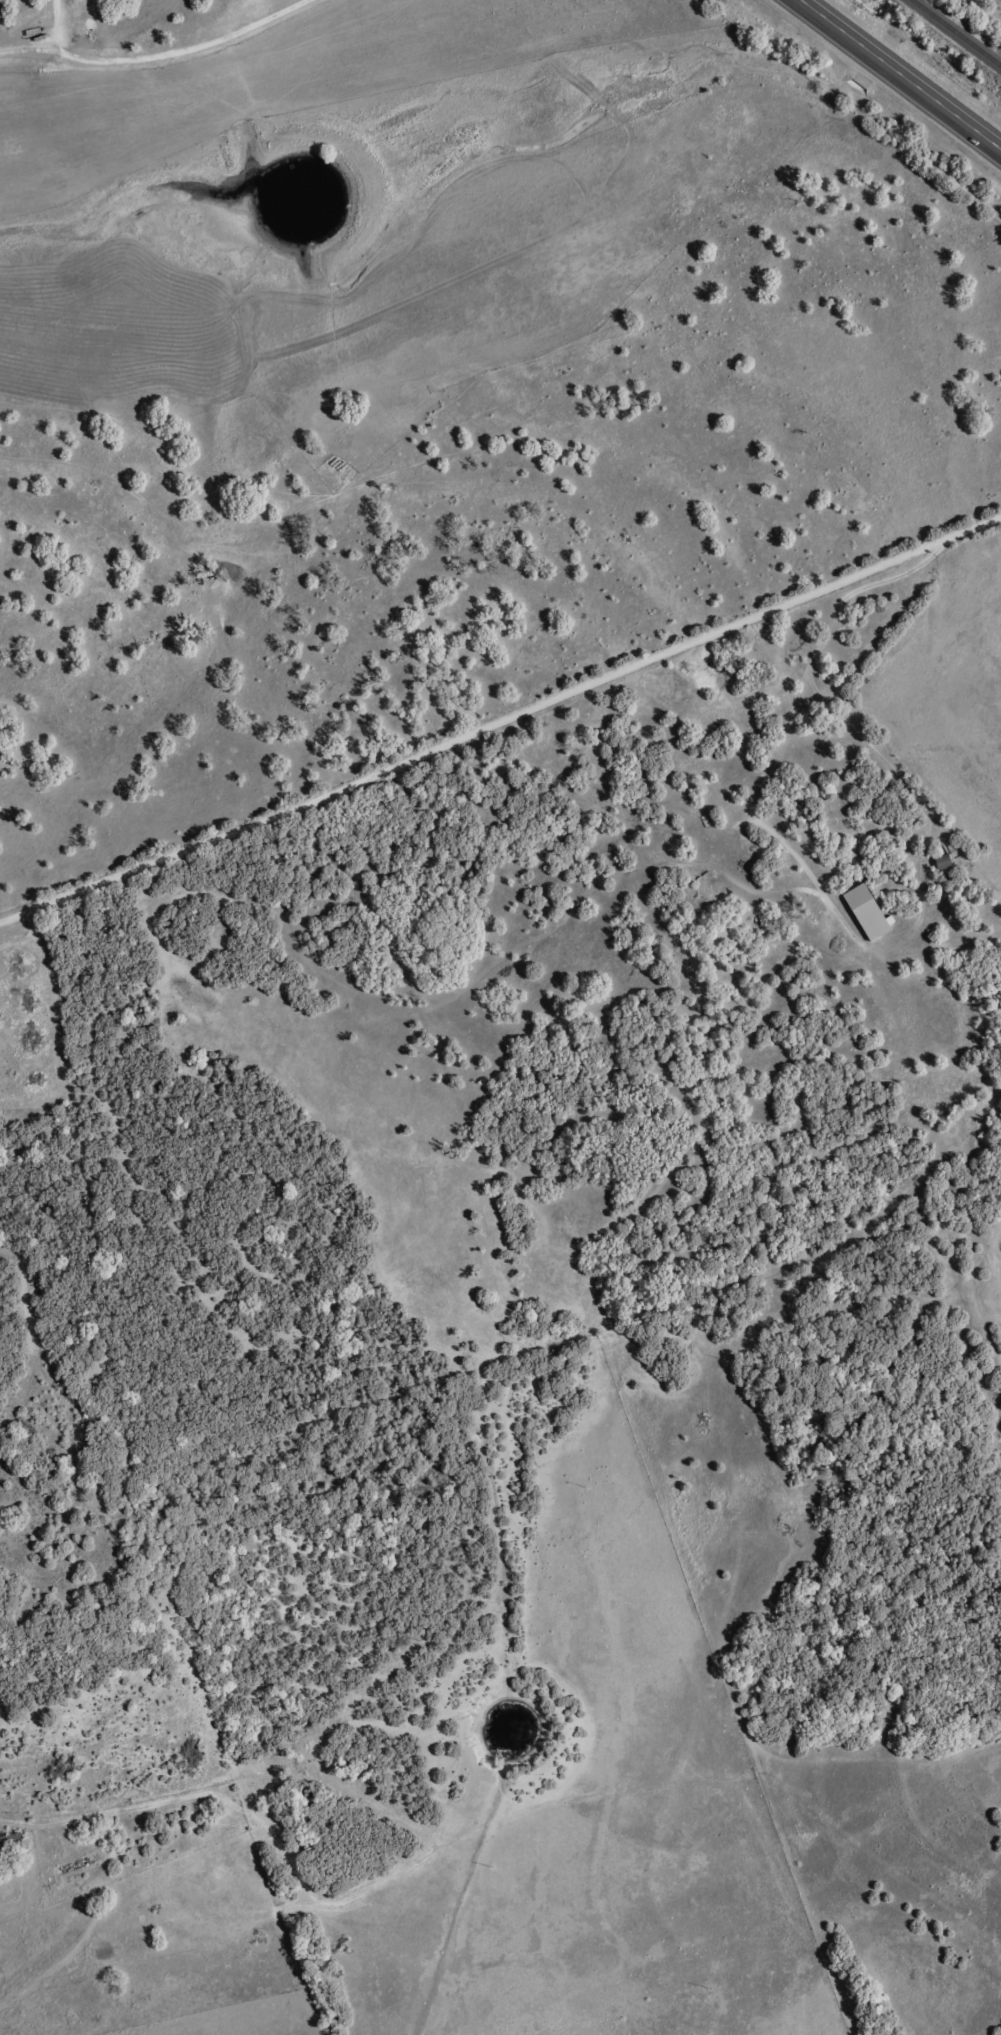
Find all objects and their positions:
railway: (955, 33)
road: (904, 71)
road: (500, 725)
building: (943, 862)
building: (10, 1841)

